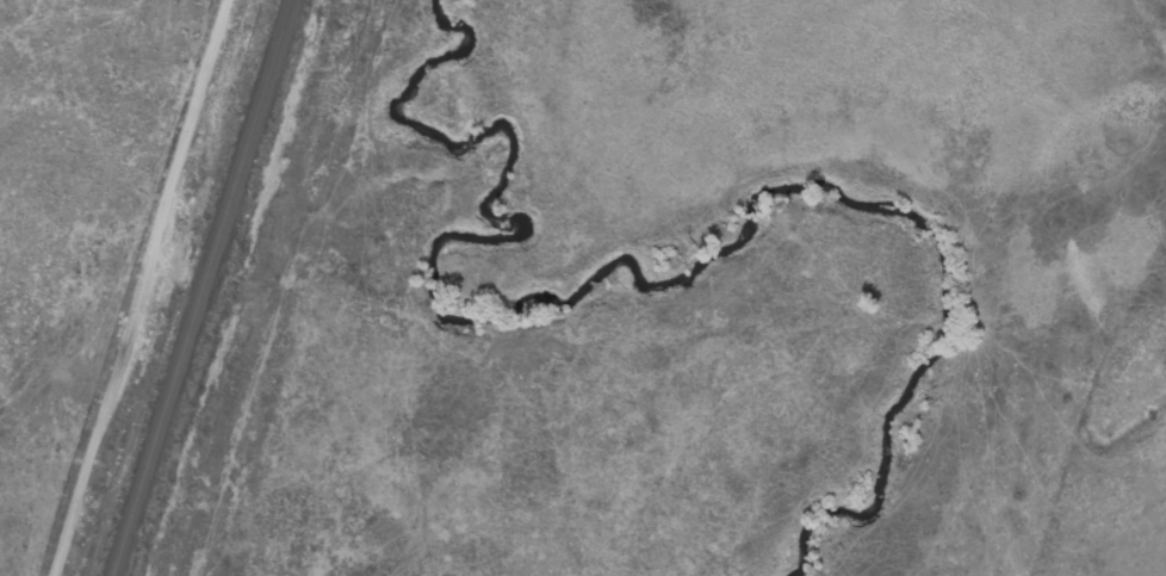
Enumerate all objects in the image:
railway: (203, 289)

